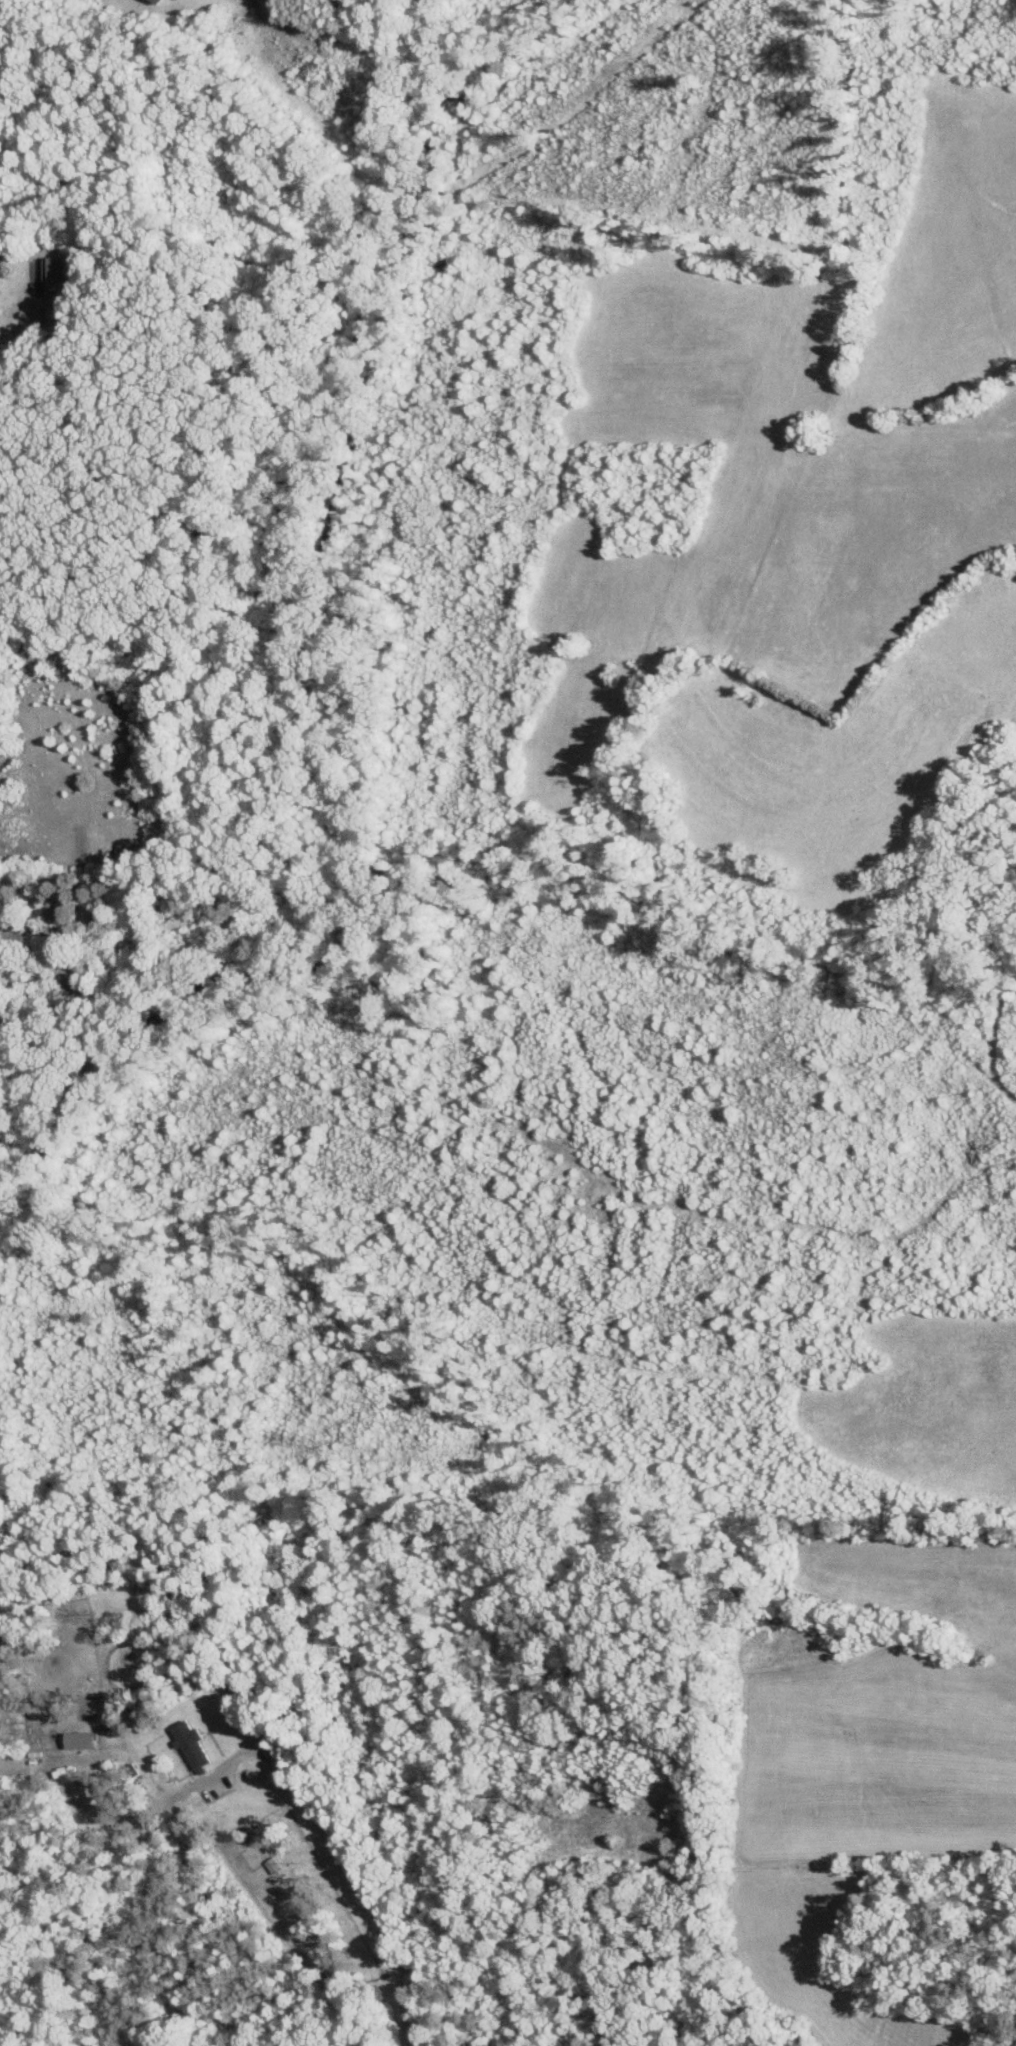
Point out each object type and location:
building: (160, 1)
road: (12, 249)
building: (60, 278)
road: (1, 943)
building: (83, 1739)
building: (193, 1745)
building: (275, 1865)
road: (346, 1866)

